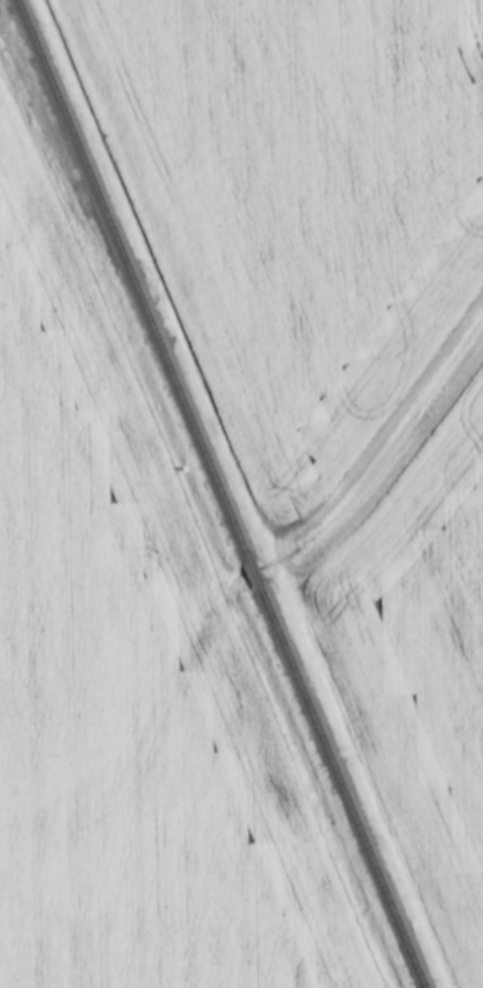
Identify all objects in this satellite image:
railway: (133, 279)
railway: (253, 572)
railway: (336, 788)

